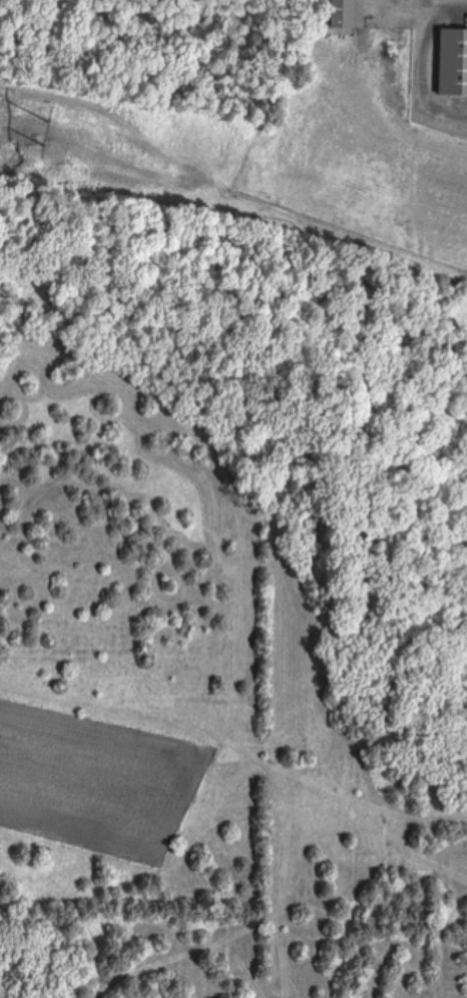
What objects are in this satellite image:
building: (339, 14)
building: (450, 63)
power tower: (44, 136)

